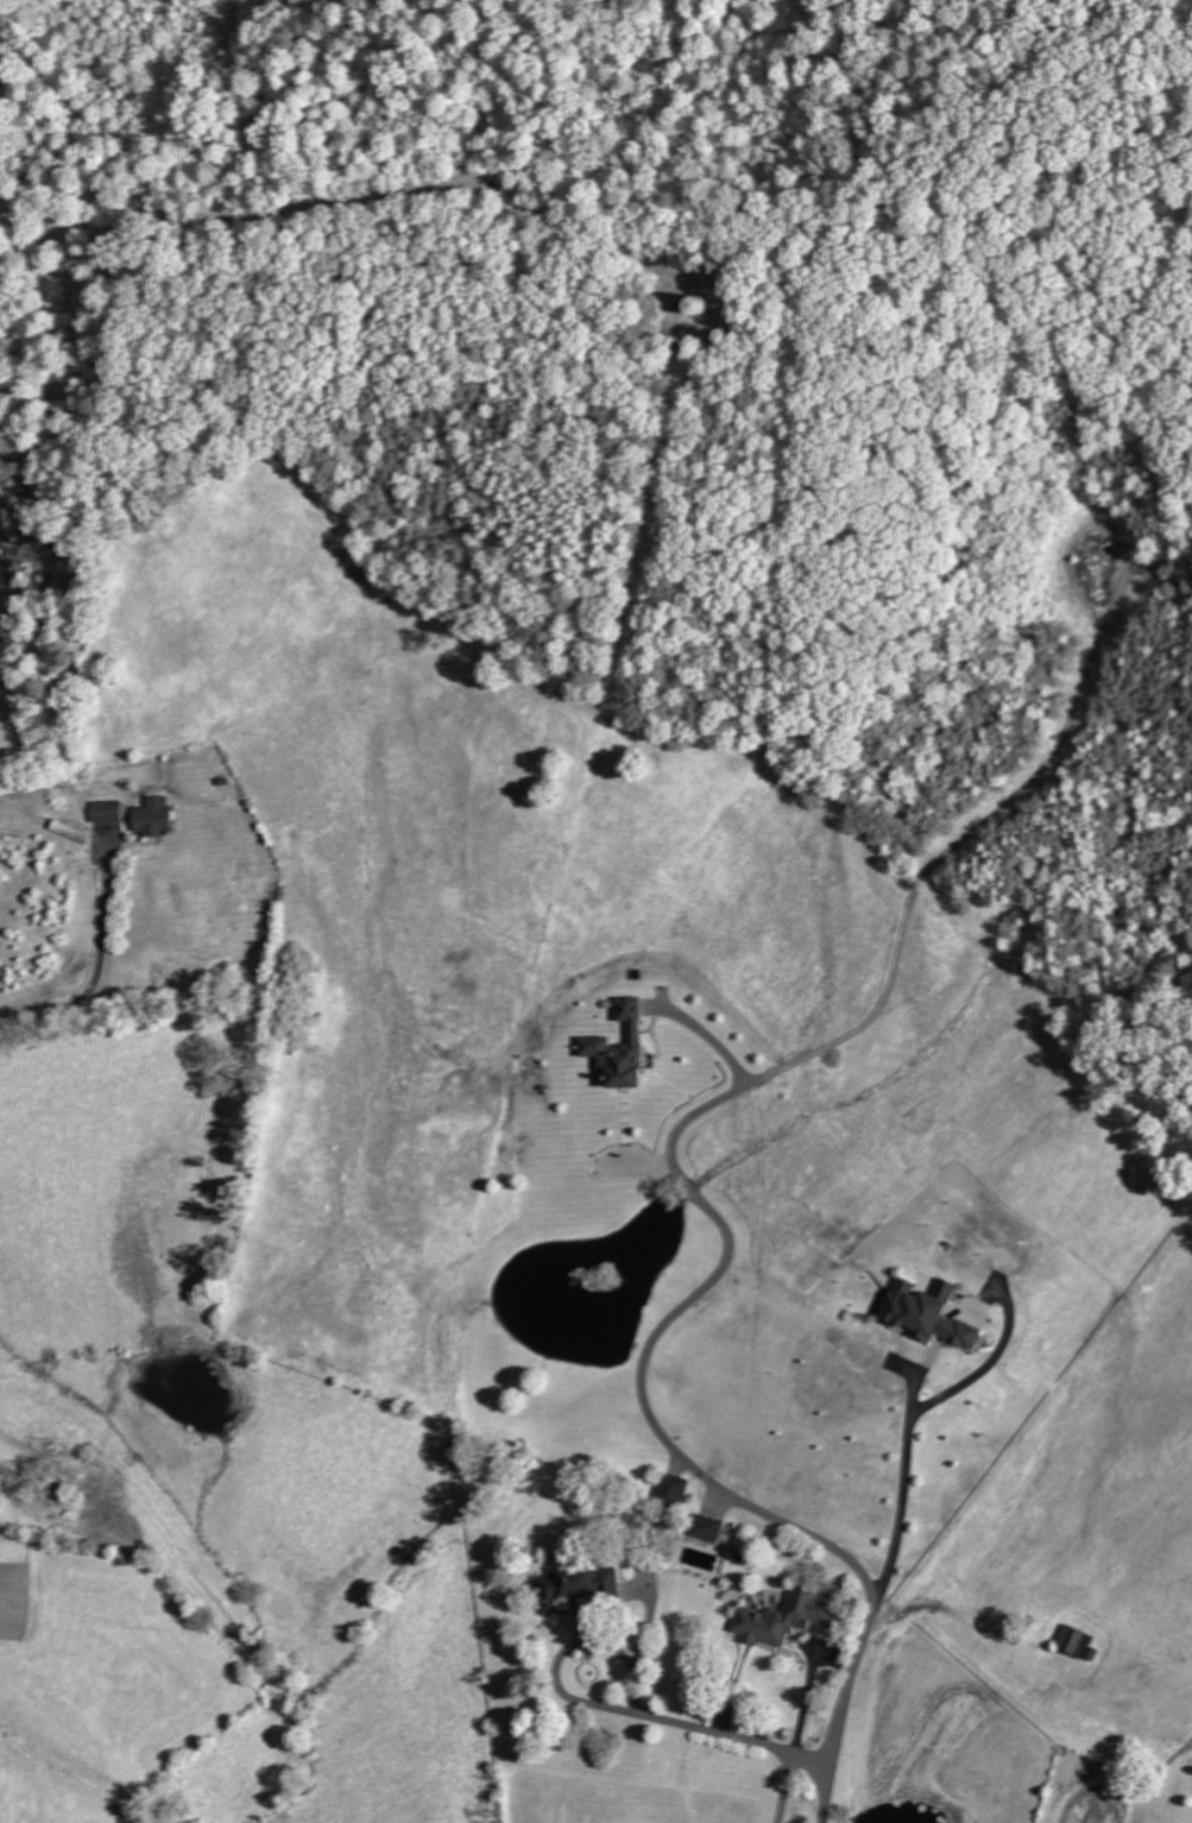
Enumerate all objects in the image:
building: (695, 302)
building: (106, 810)
building: (152, 815)
building: (619, 1048)
building: (928, 1313)
building: (671, 1488)
building: (707, 1527)
building: (578, 1588)
building: (788, 1615)
building: (1076, 1641)

